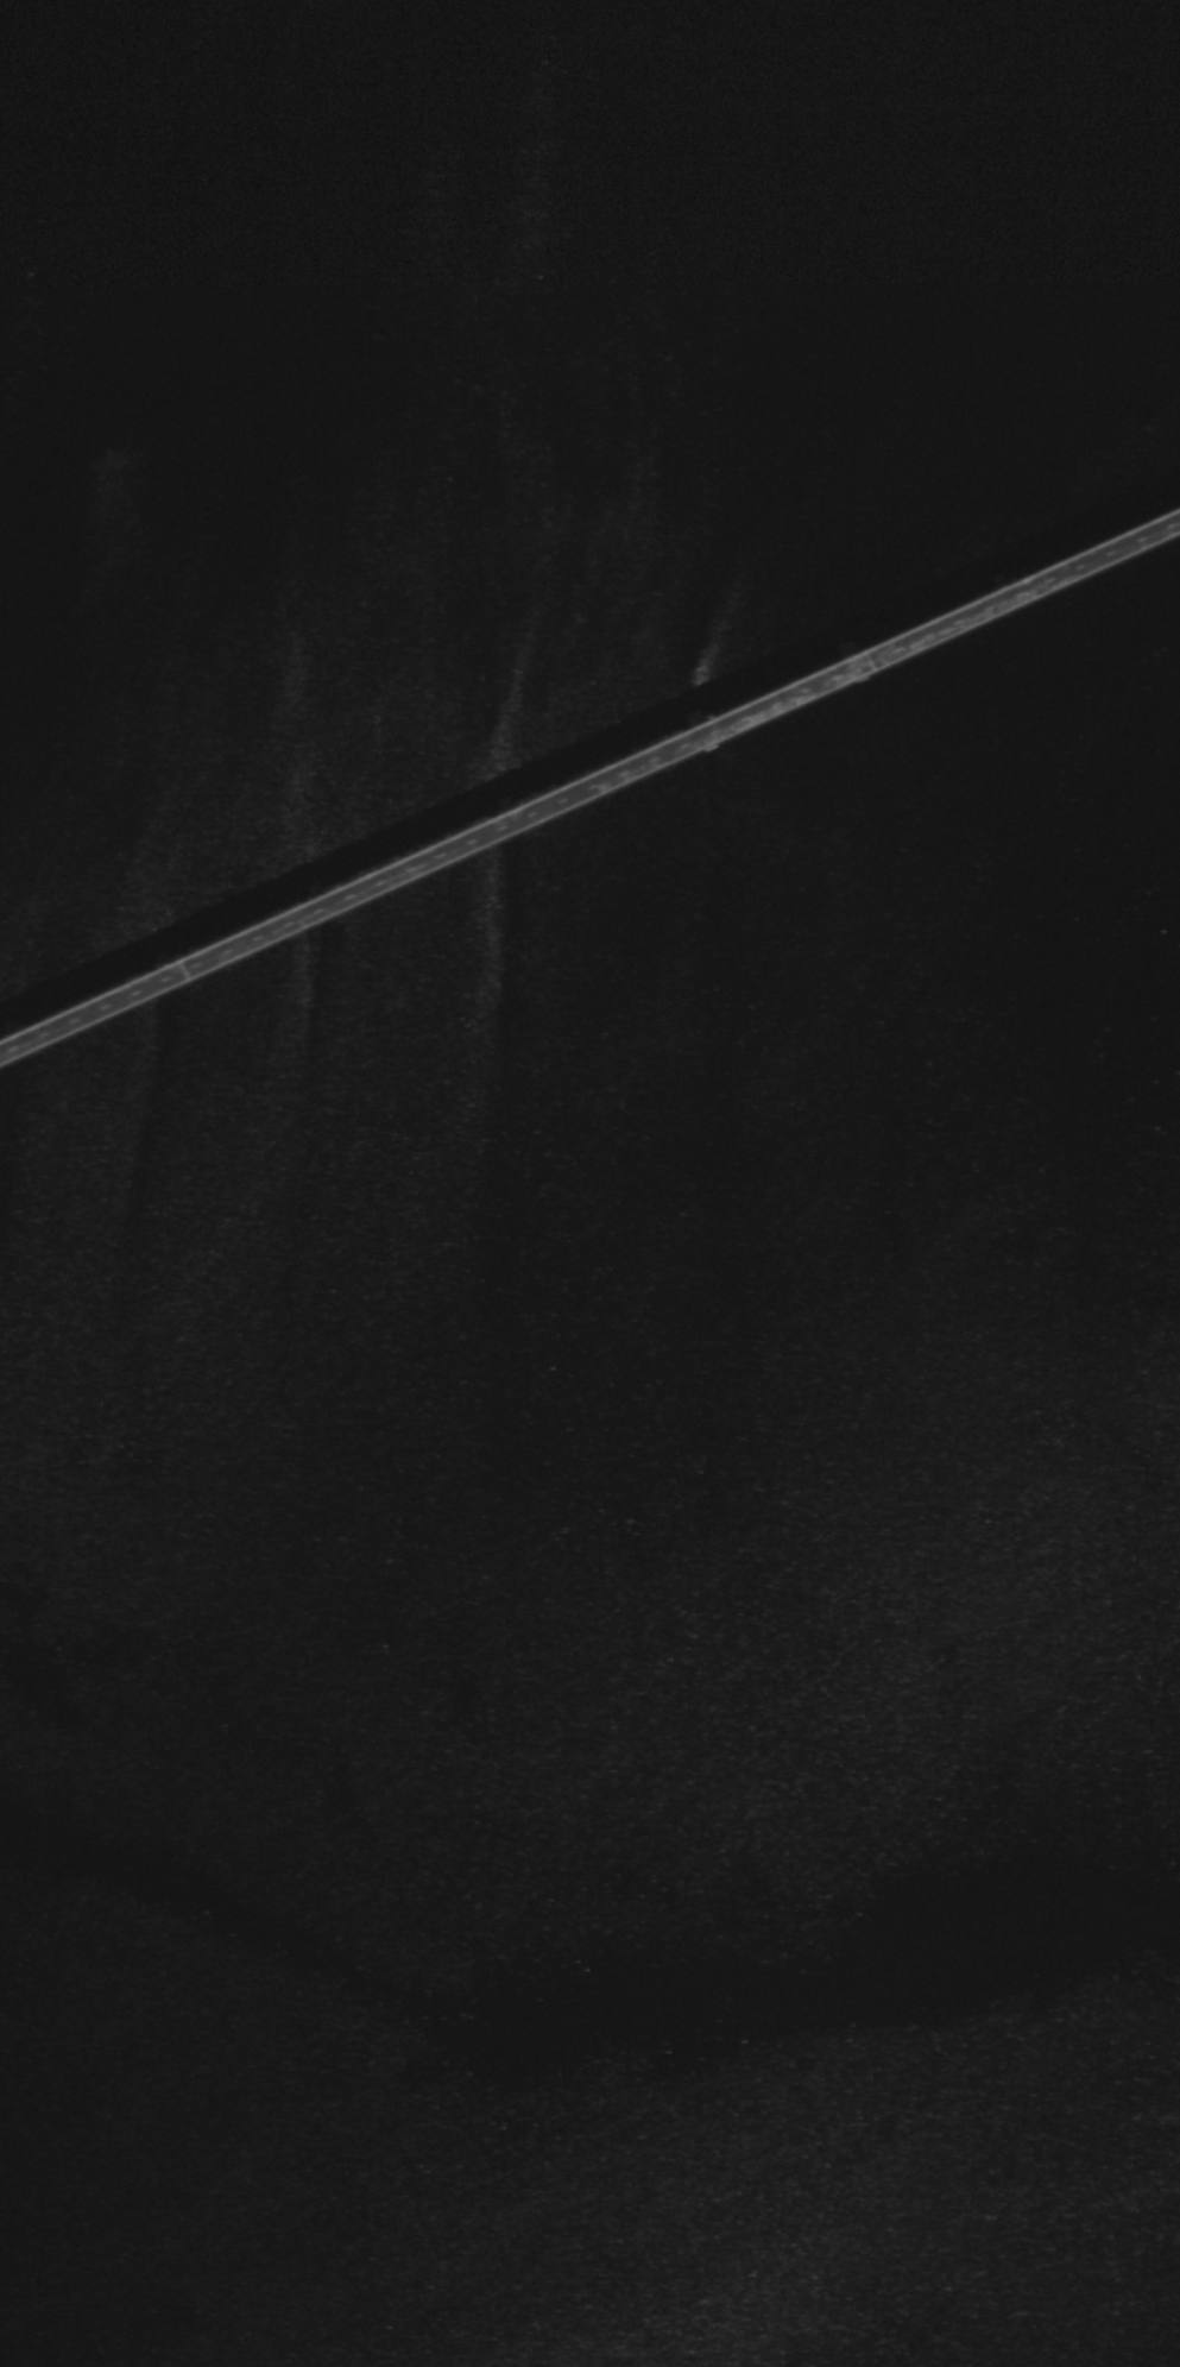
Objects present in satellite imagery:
river: (929, 262)
road: (1045, 598)
road: (455, 862)

